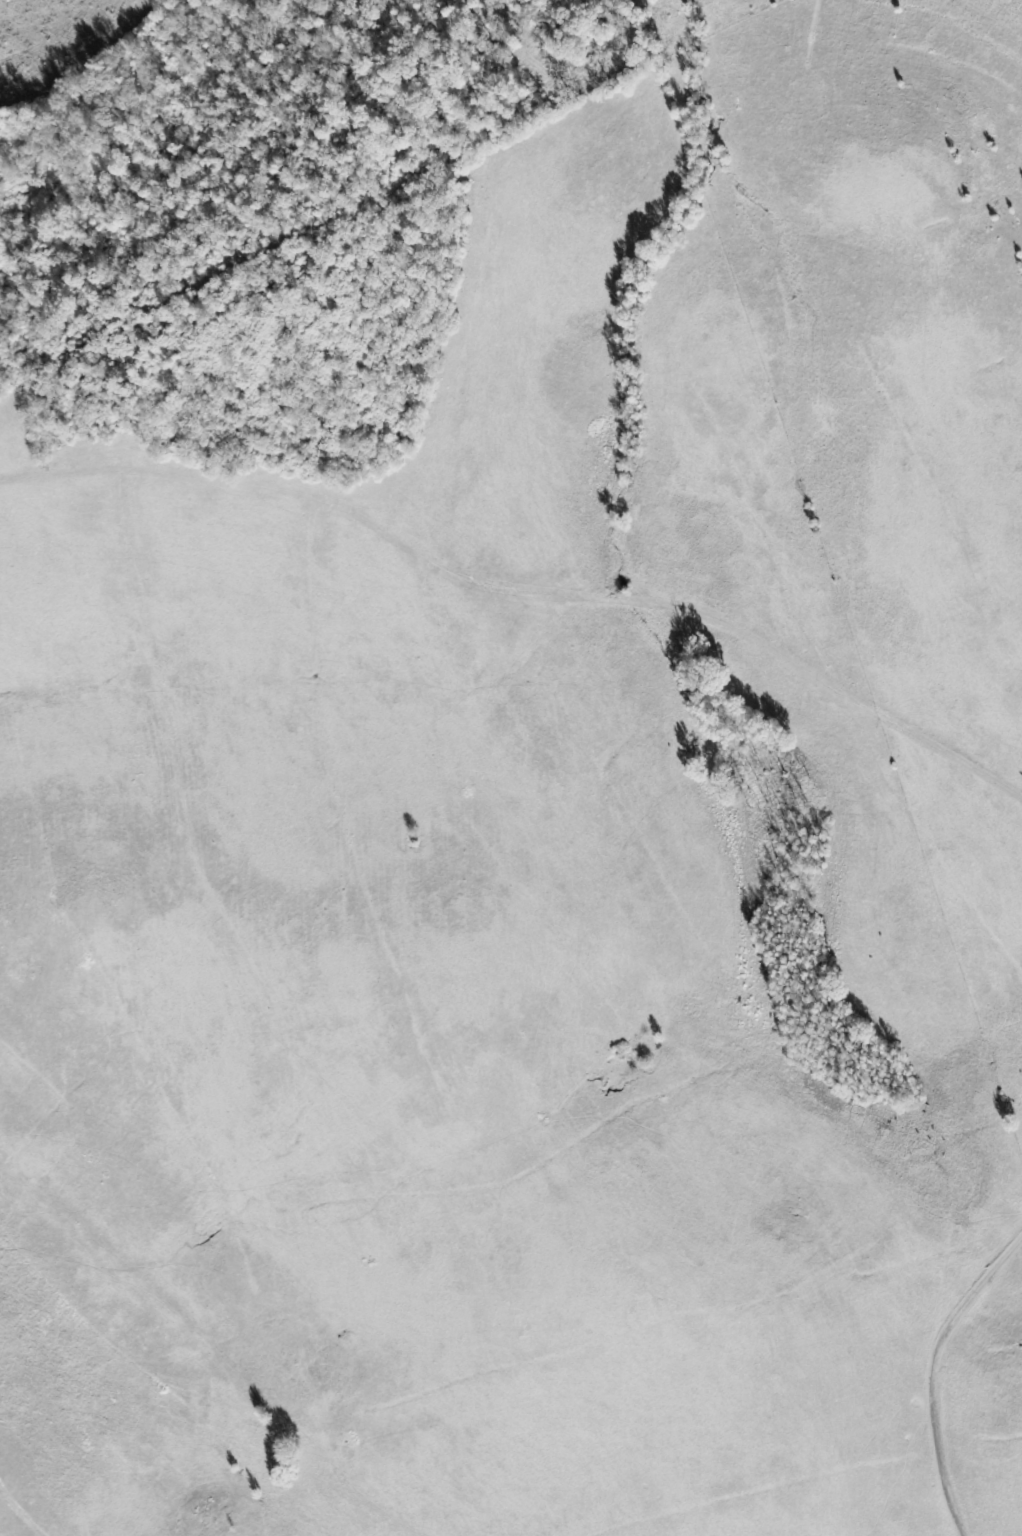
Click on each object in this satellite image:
road: (637, 2)
road: (1007, 8)
road: (95, 64)
road: (520, 589)
road: (929, 1370)

